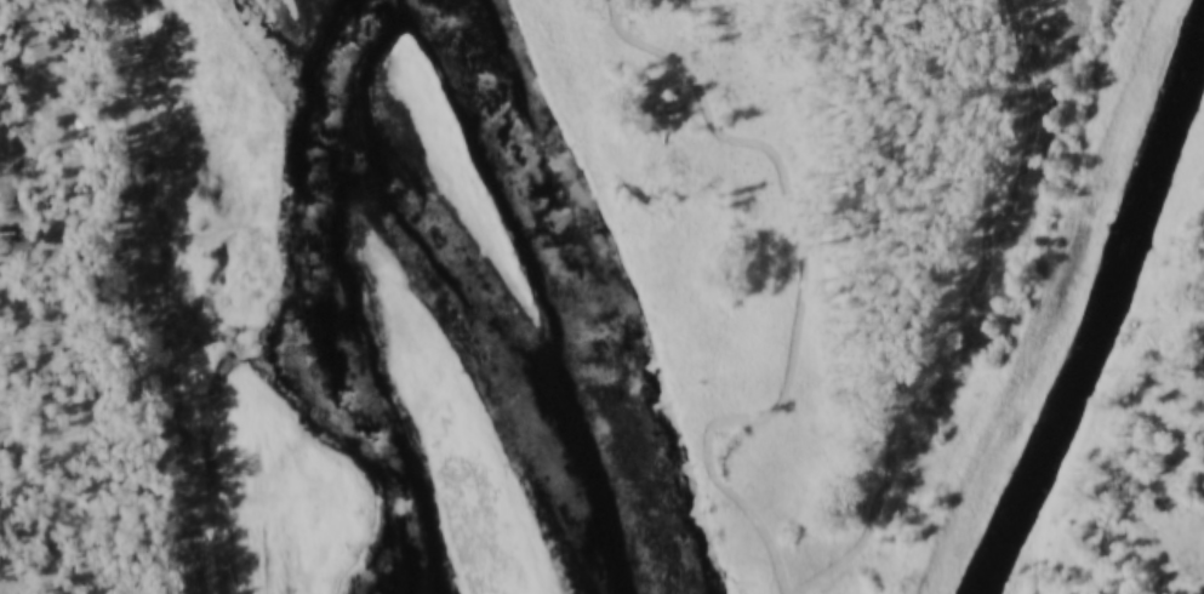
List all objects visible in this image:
road: (806, 280)
park: (581, 284)
river: (581, 290)
river: (319, 301)
road: (958, 315)
river: (1102, 321)
river: (503, 367)

